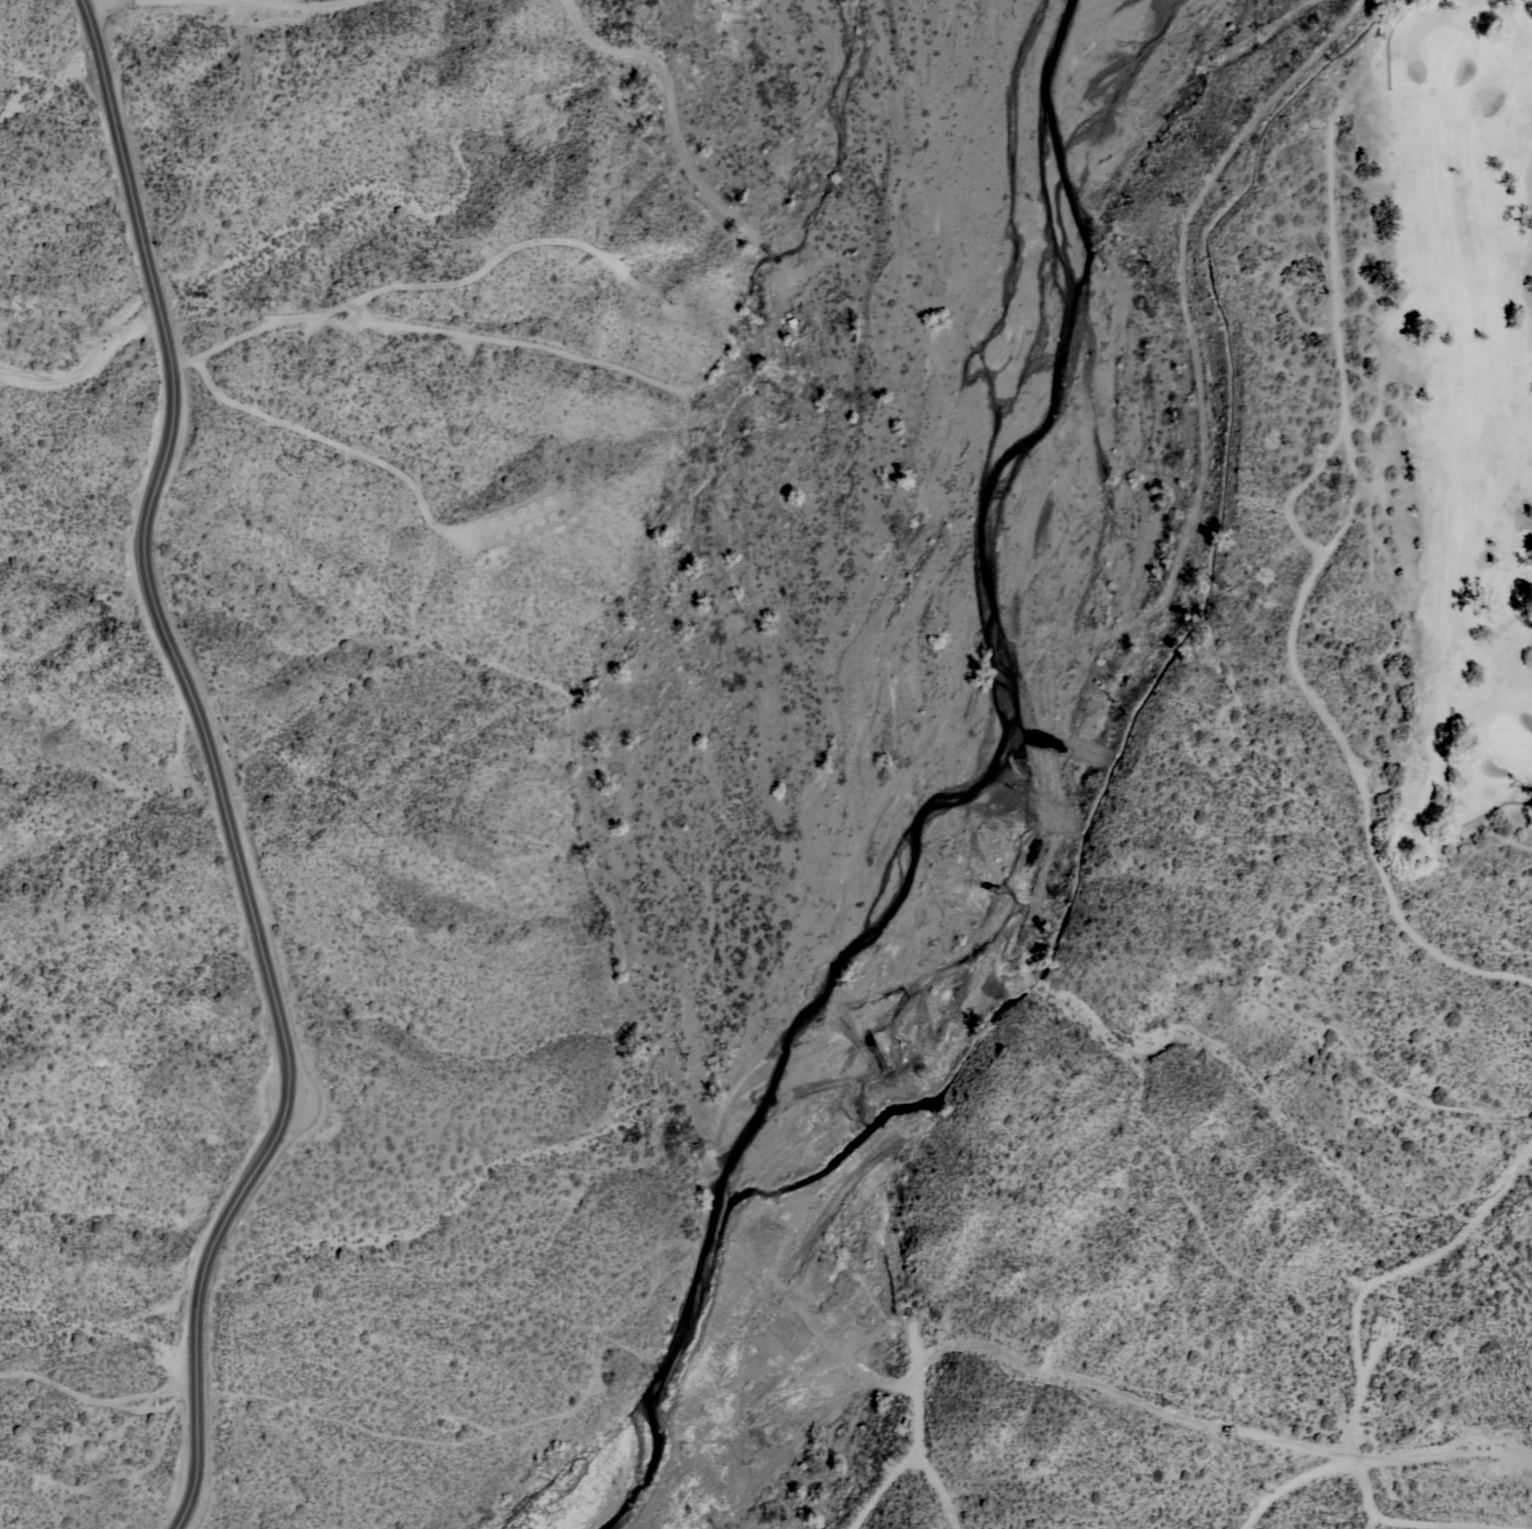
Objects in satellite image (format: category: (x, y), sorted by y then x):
road: (87, 367)
park: (1436, 505)
road: (218, 768)
road: (1132, 1396)
road: (1383, 1522)

